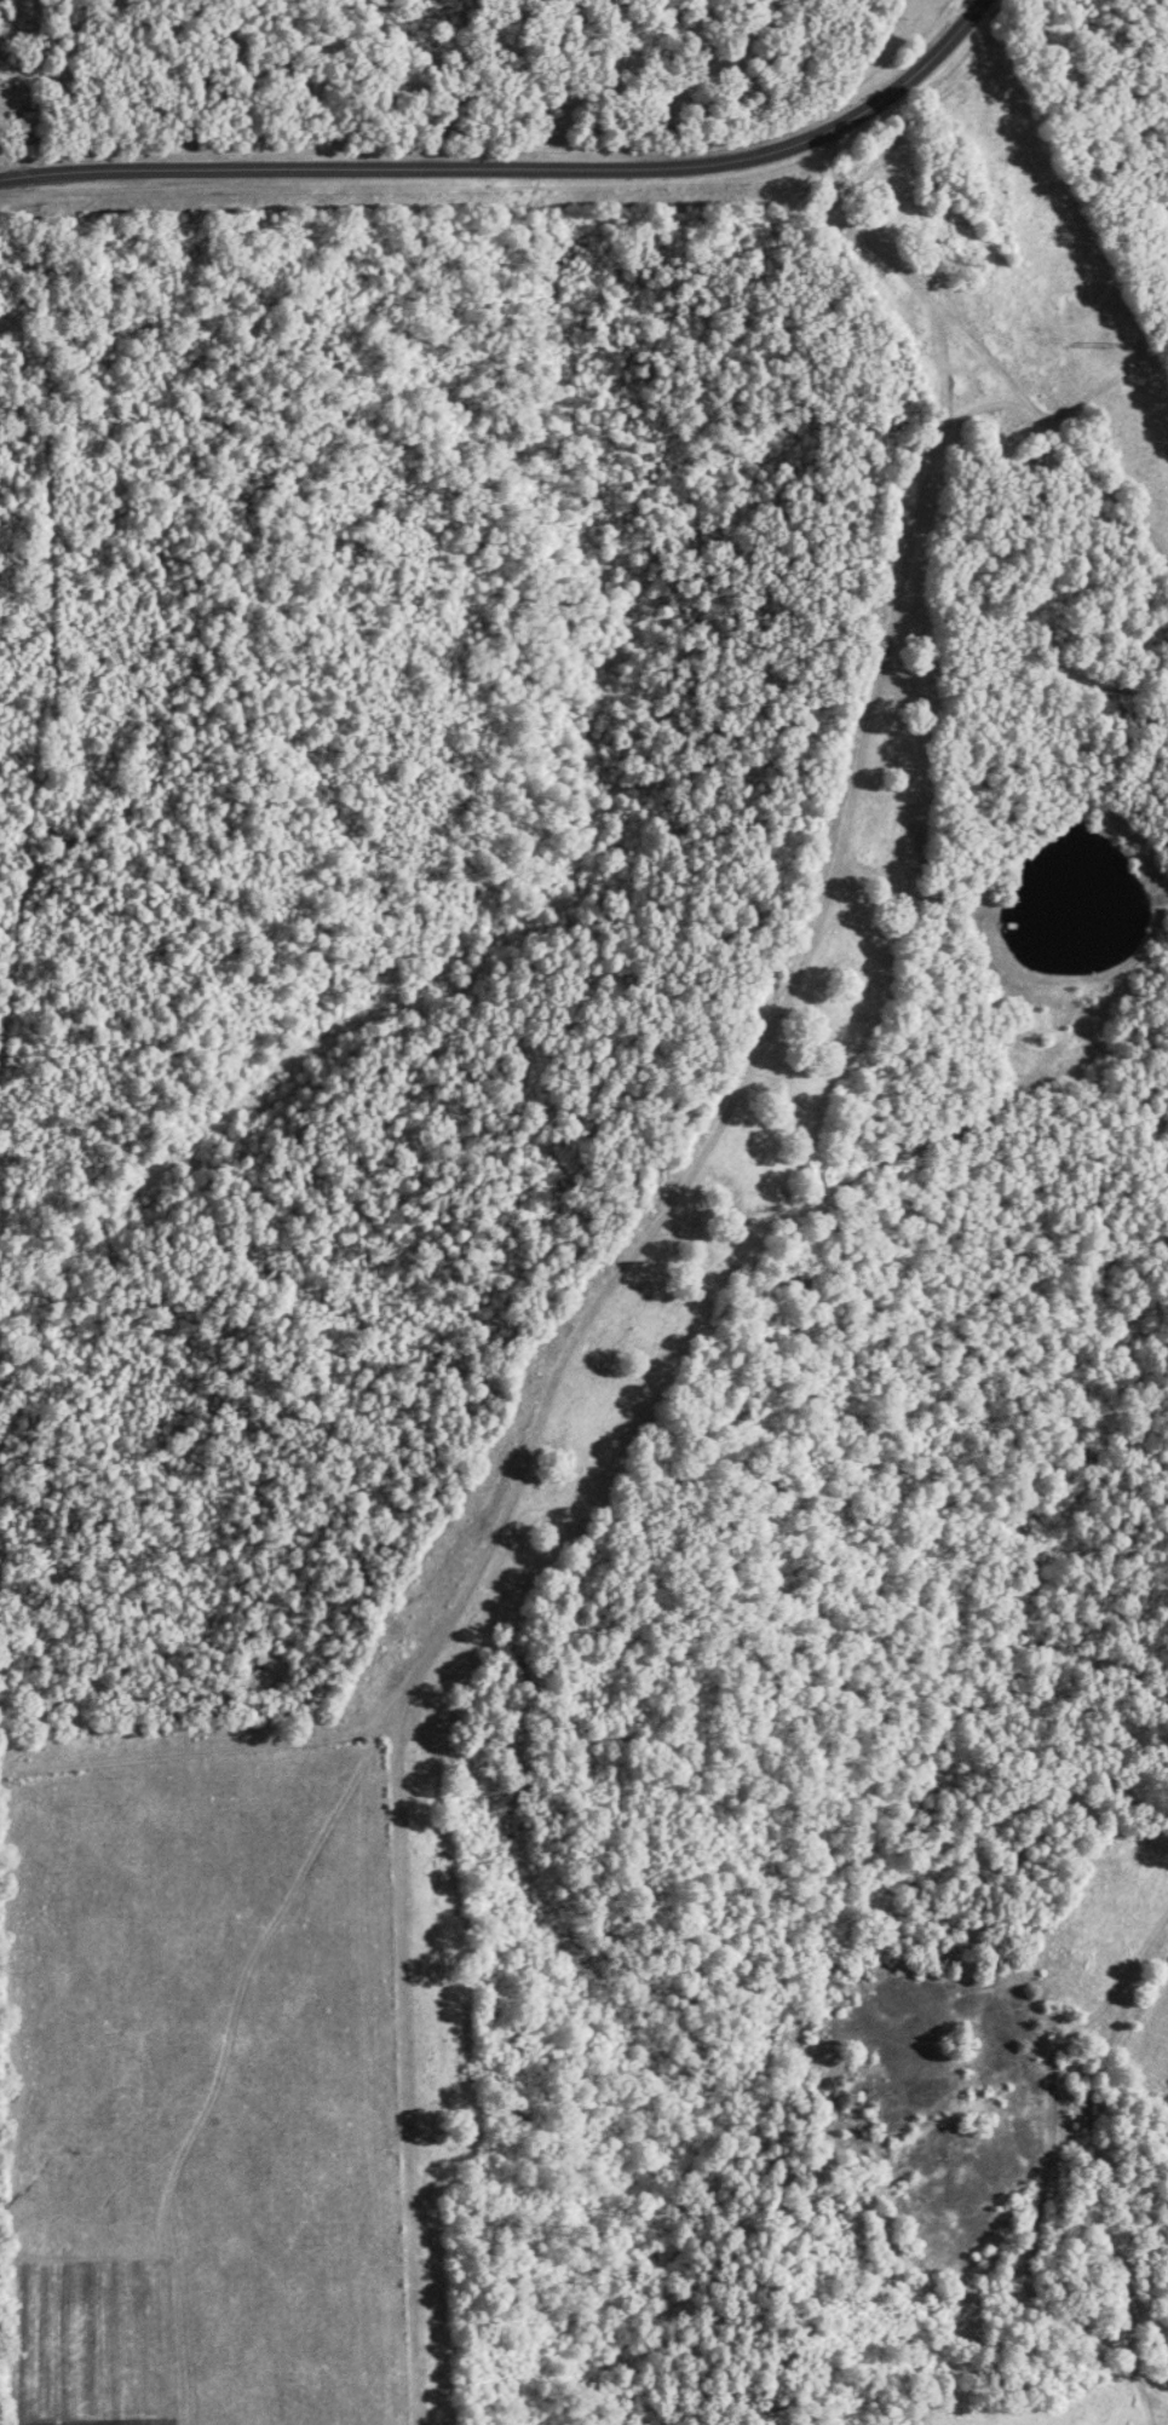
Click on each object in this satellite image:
road: (520, 171)
power tower: (1110, 344)

